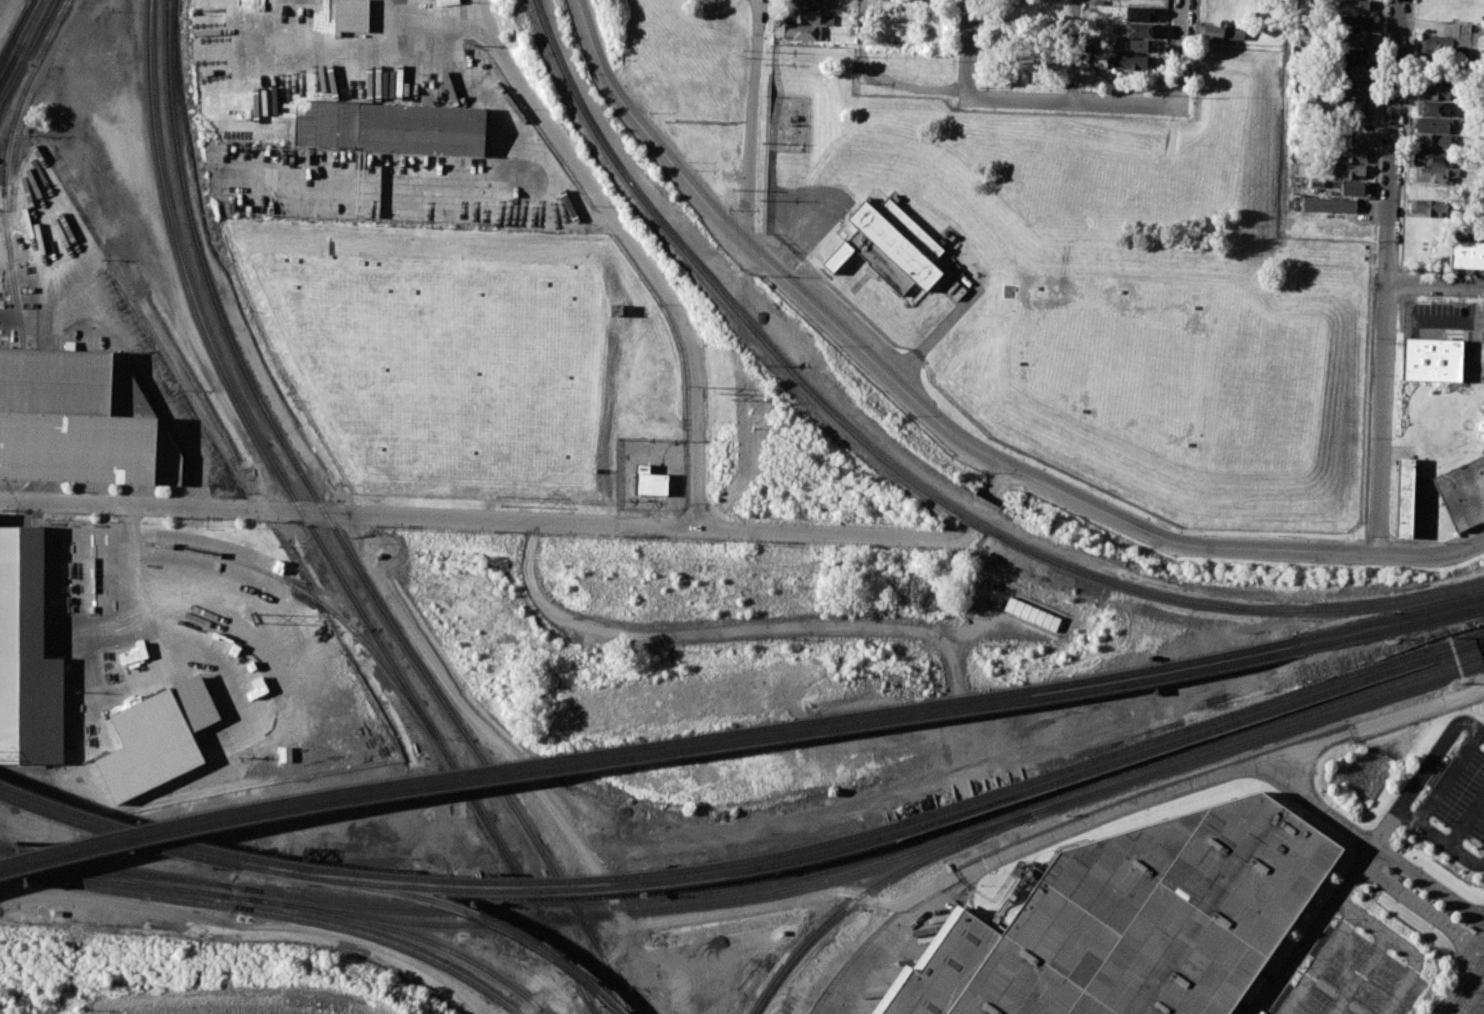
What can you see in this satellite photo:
building: (446, 2)
building: (808, 2)
building: (245, 3)
building: (1354, 5)
road: (419, 10)
road: (7, 13)
building: (1139, 13)
building: (352, 15)
building: (803, 15)
building: (1355, 22)
railway: (16, 28)
railway: (28, 28)
building: (1463, 29)
building: (1141, 30)
railway: (16, 31)
building: (850, 31)
building: (1221, 31)
building: (803, 32)
building: (1355, 39)
building: (1134, 45)
building: (1434, 45)
railway: (19, 48)
road: (970, 49)
road: (360, 50)
railway: (27, 51)
road: (1074, 51)
road: (1180, 53)
building: (1353, 55)
street lamp: (611, 59)
building: (1132, 62)
railway: (7, 69)
railway: (7, 70)
building: (1354, 71)
road: (899, 83)
building: (1355, 88)
building: (1437, 88)
road: (1070, 101)
building: (1355, 105)
building: (1430, 108)
street lamp: (647, 111)
road: (507, 112)
road: (1285, 118)
power tower: (669, 120)
building: (326, 122)
road: (754, 122)
building: (1434, 125)
building: (421, 130)
road: (645, 133)
building: (1352, 138)
building: (1438, 141)
building: (1350, 154)
building: (1429, 158)
railway: (5, 168)
street lamp: (694, 169)
building: (1350, 171)
building: (1434, 175)
building: (1354, 188)
building: (1329, 205)
building: (1428, 206)
street lamp: (727, 208)
building: (892, 244)
road: (635, 249)
building: (1466, 253)
railway: (184, 267)
railway: (204, 268)
street lamp: (755, 272)
road: (1388, 276)
road: (1436, 290)
building: (616, 309)
road: (935, 335)
street lamp: (836, 345)
road: (133, 348)
building: (1432, 359)
road: (875, 362)
building: (70, 383)
power tower: (721, 395)
street lamp: (909, 414)
building: (78, 447)
building: (167, 460)
street lamp: (985, 472)
railway: (906, 475)
building: (650, 481)
road: (1000, 484)
street lamp: (1089, 489)
building: (1463, 493)
road: (201, 495)
building: (1405, 497)
power tower: (497, 499)
road: (129, 513)
road: (486, 520)
street lamp: (1179, 530)
street lamp: (1276, 535)
street lamp: (1366, 536)
street lamp: (1442, 542)
road: (1240, 550)
road: (129, 556)
railway: (319, 601)
building: (1031, 614)
power tower: (254, 617)
railway: (1391, 617)
railway: (1393, 628)
road: (720, 631)
building: (27, 655)
railway: (1272, 724)
railway: (1186, 729)
railway: (1273, 733)
railway: (1187, 738)
building: (157, 739)
railway: (648, 745)
building: (285, 754)
railway: (650, 755)
railway: (482, 760)
railway: (450, 762)
road: (524, 774)
road: (1449, 778)
road: (1317, 806)
road: (1466, 819)
road: (1422, 827)
road: (1060, 834)
railway: (143, 843)
railway: (32, 854)
road: (1362, 855)
road: (1465, 856)
railway: (1, 862)
railway: (114, 868)
railway: (8, 872)
railway: (115, 874)
railway: (114, 879)
railway: (441, 881)
road: (1427, 882)
railway: (876, 884)
railway: (121, 885)
railway: (594, 889)
railway: (650, 898)
road: (803, 898)
road: (1419, 907)
railway: (650, 910)
railway: (471, 912)
railway: (277, 913)
building: (1153, 916)
road: (248, 925)
railway: (424, 940)
road: (1402, 945)
road: (1318, 963)
building: (942, 969)
road: (1360, 975)
parking lot: (1353, 979)
street lamp: (1450, 992)
road: (1475, 1001)

